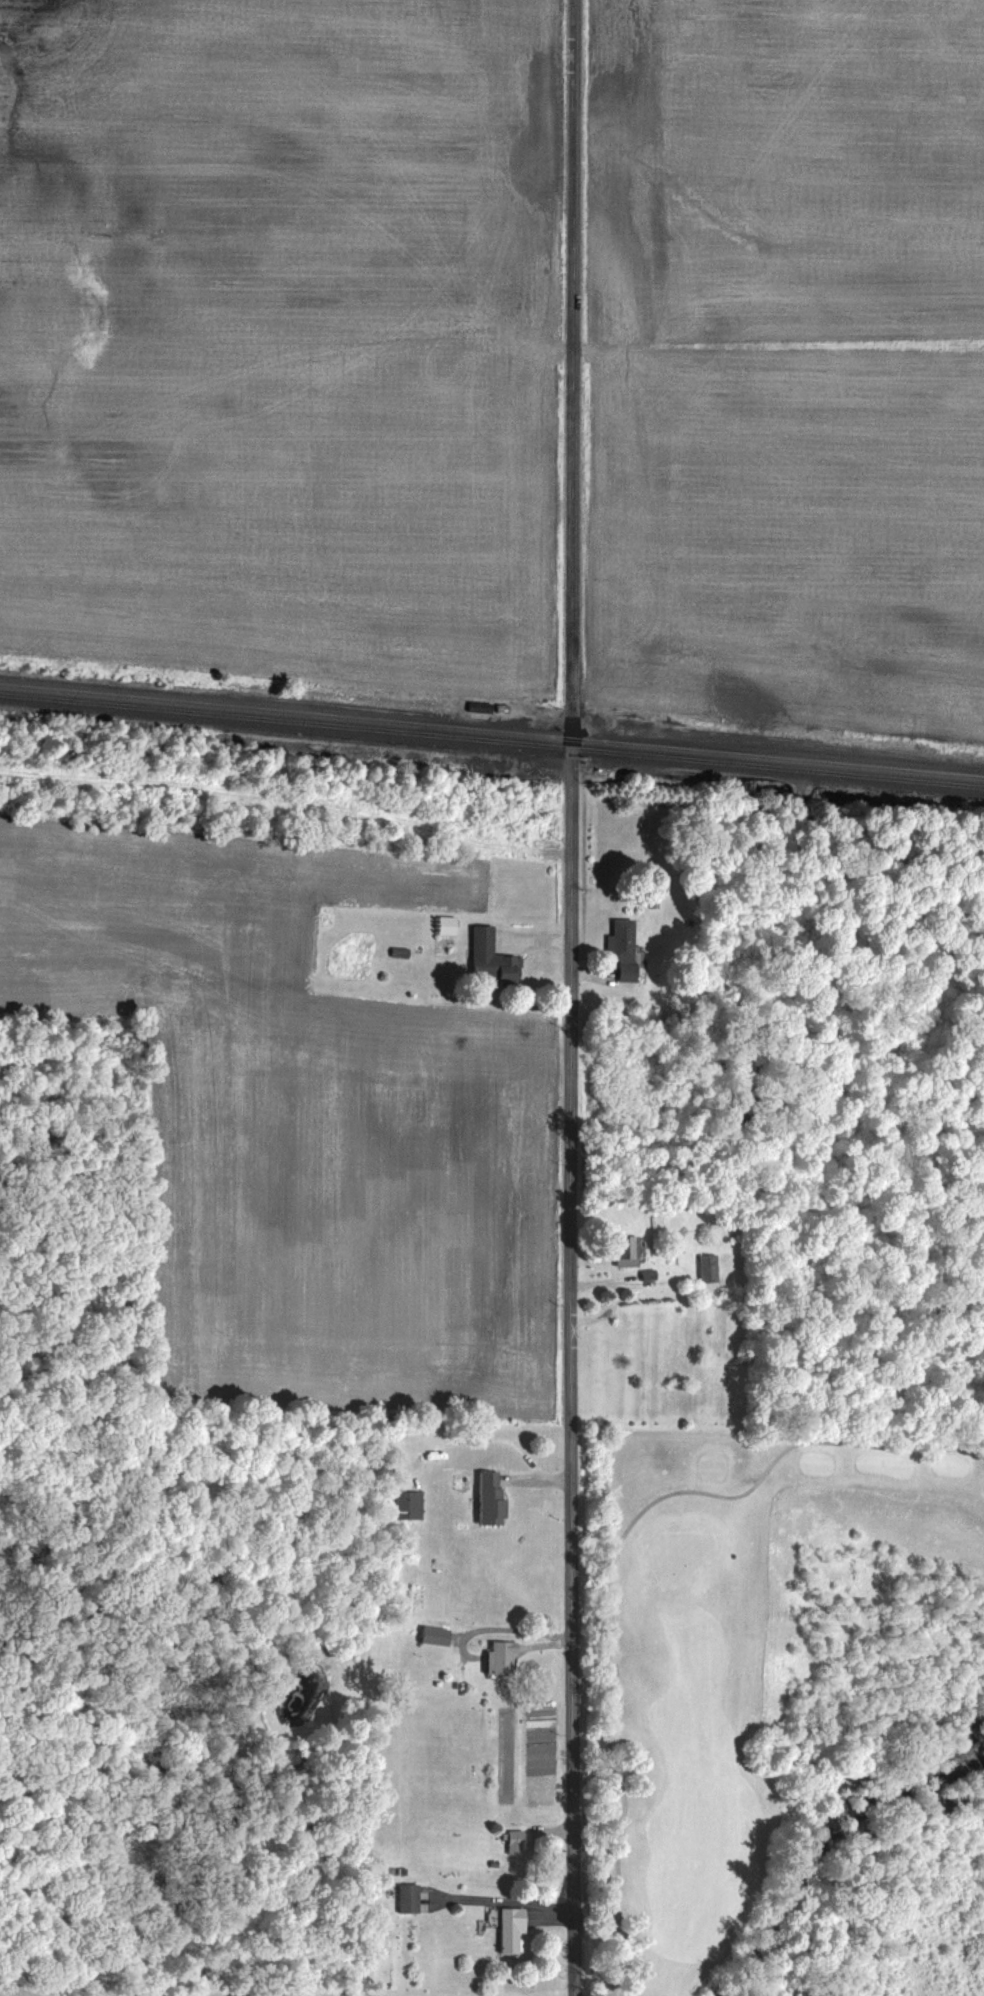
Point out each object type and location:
building: (476, 705)
railway: (492, 728)
railway: (492, 738)
building: (443, 924)
building: (620, 950)
building: (346, 952)
building: (487, 956)
road: (569, 998)
building: (620, 1250)
building: (705, 1267)
building: (487, 1497)
building: (405, 1505)
road: (610, 1565)
building: (432, 1635)
building: (497, 1657)
building: (513, 1841)
building: (405, 1898)
building: (507, 1928)

